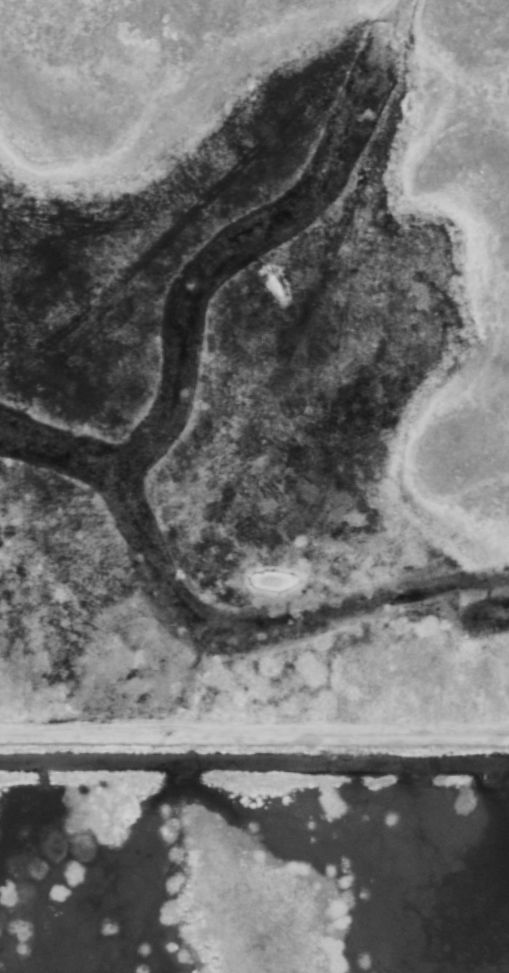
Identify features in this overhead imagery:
crop: (484, 407)

